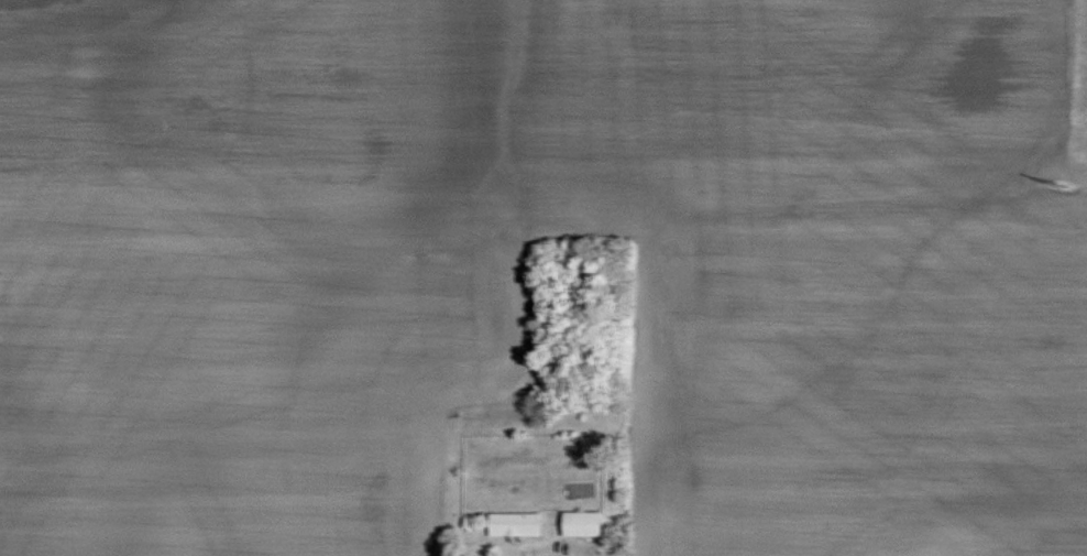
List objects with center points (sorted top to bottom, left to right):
power tower: (1059, 189)
building: (589, 522)
building: (519, 523)

